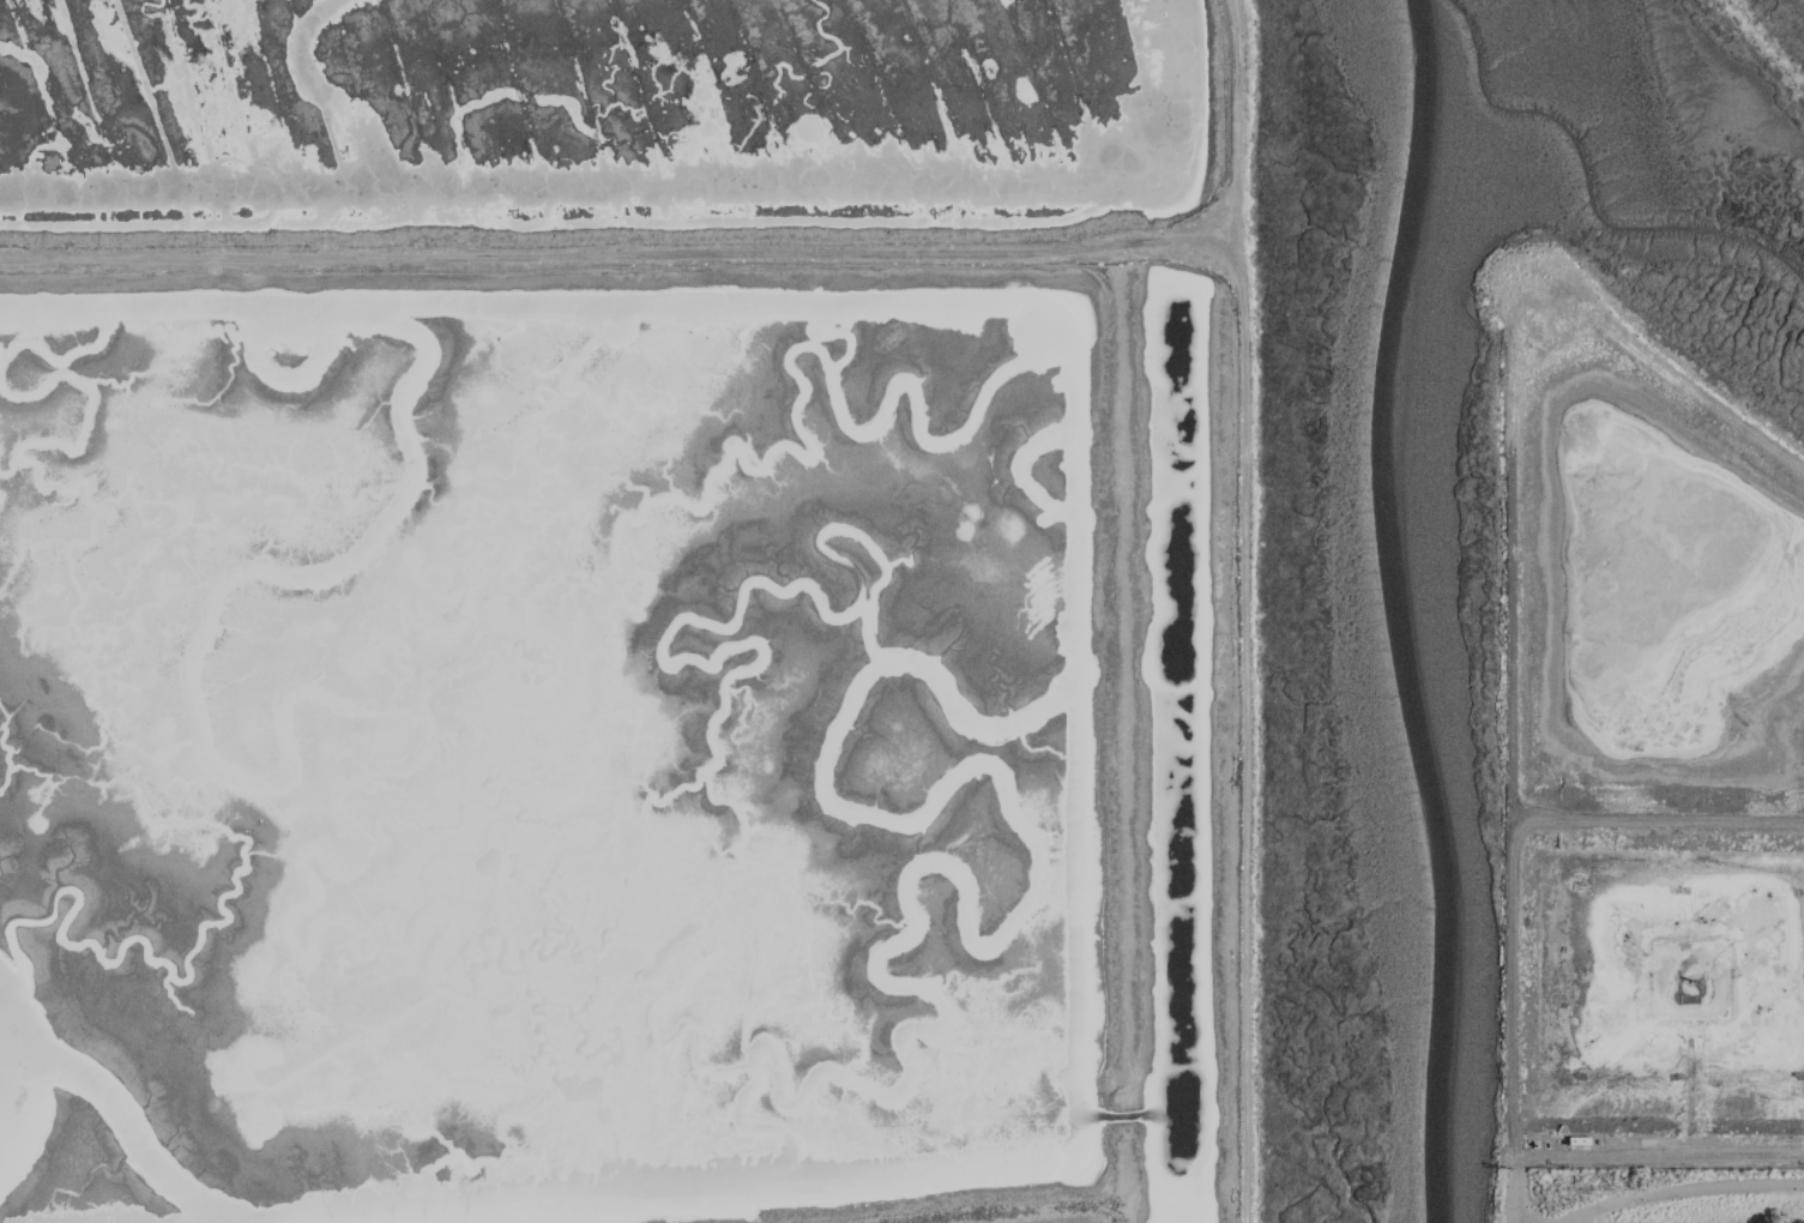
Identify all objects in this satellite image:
road: (1509, 656)
road: (1509, 843)
road: (1660, 1159)
road: (1515, 1192)
road: (1683, 1193)
park: (1649, 1197)

